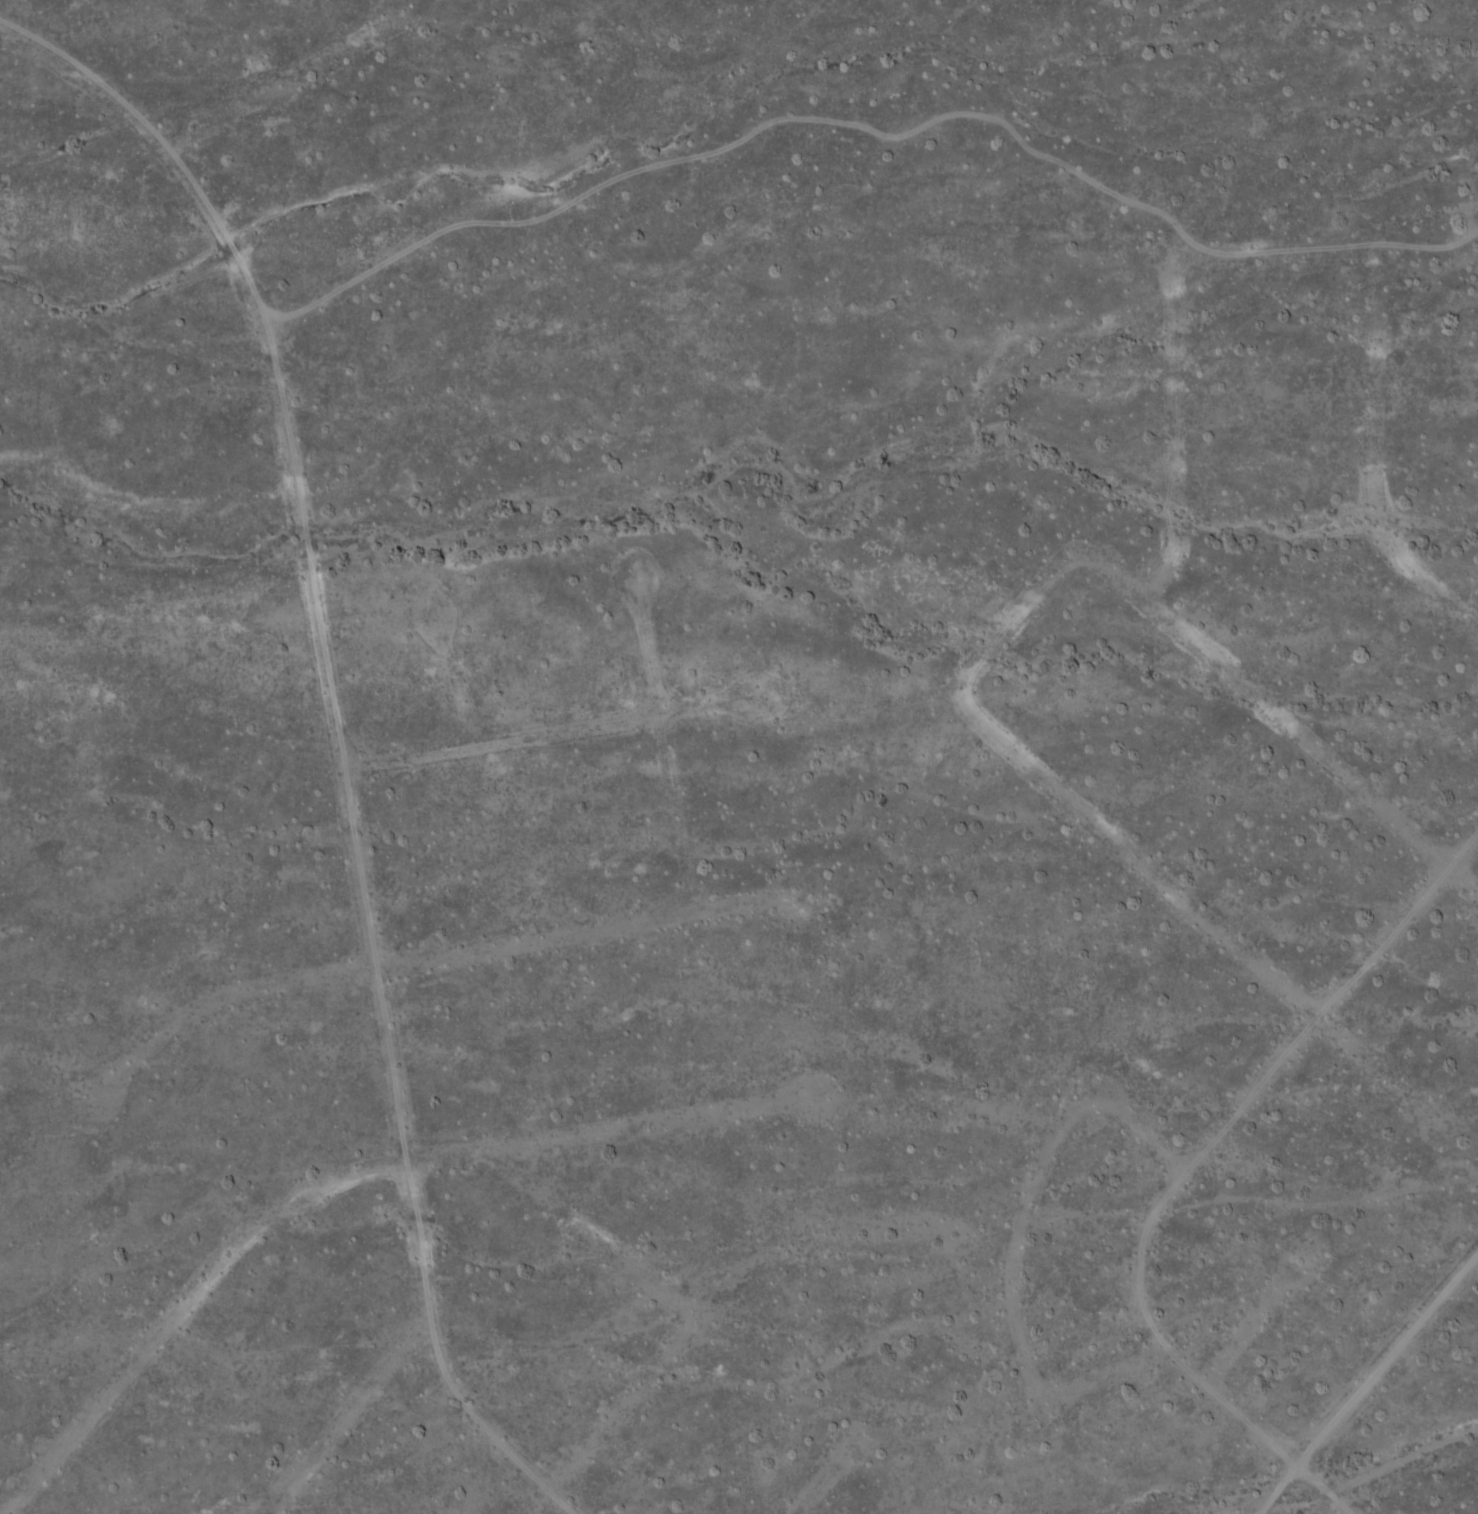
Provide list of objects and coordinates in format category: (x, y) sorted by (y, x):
road: (740, 1336)

